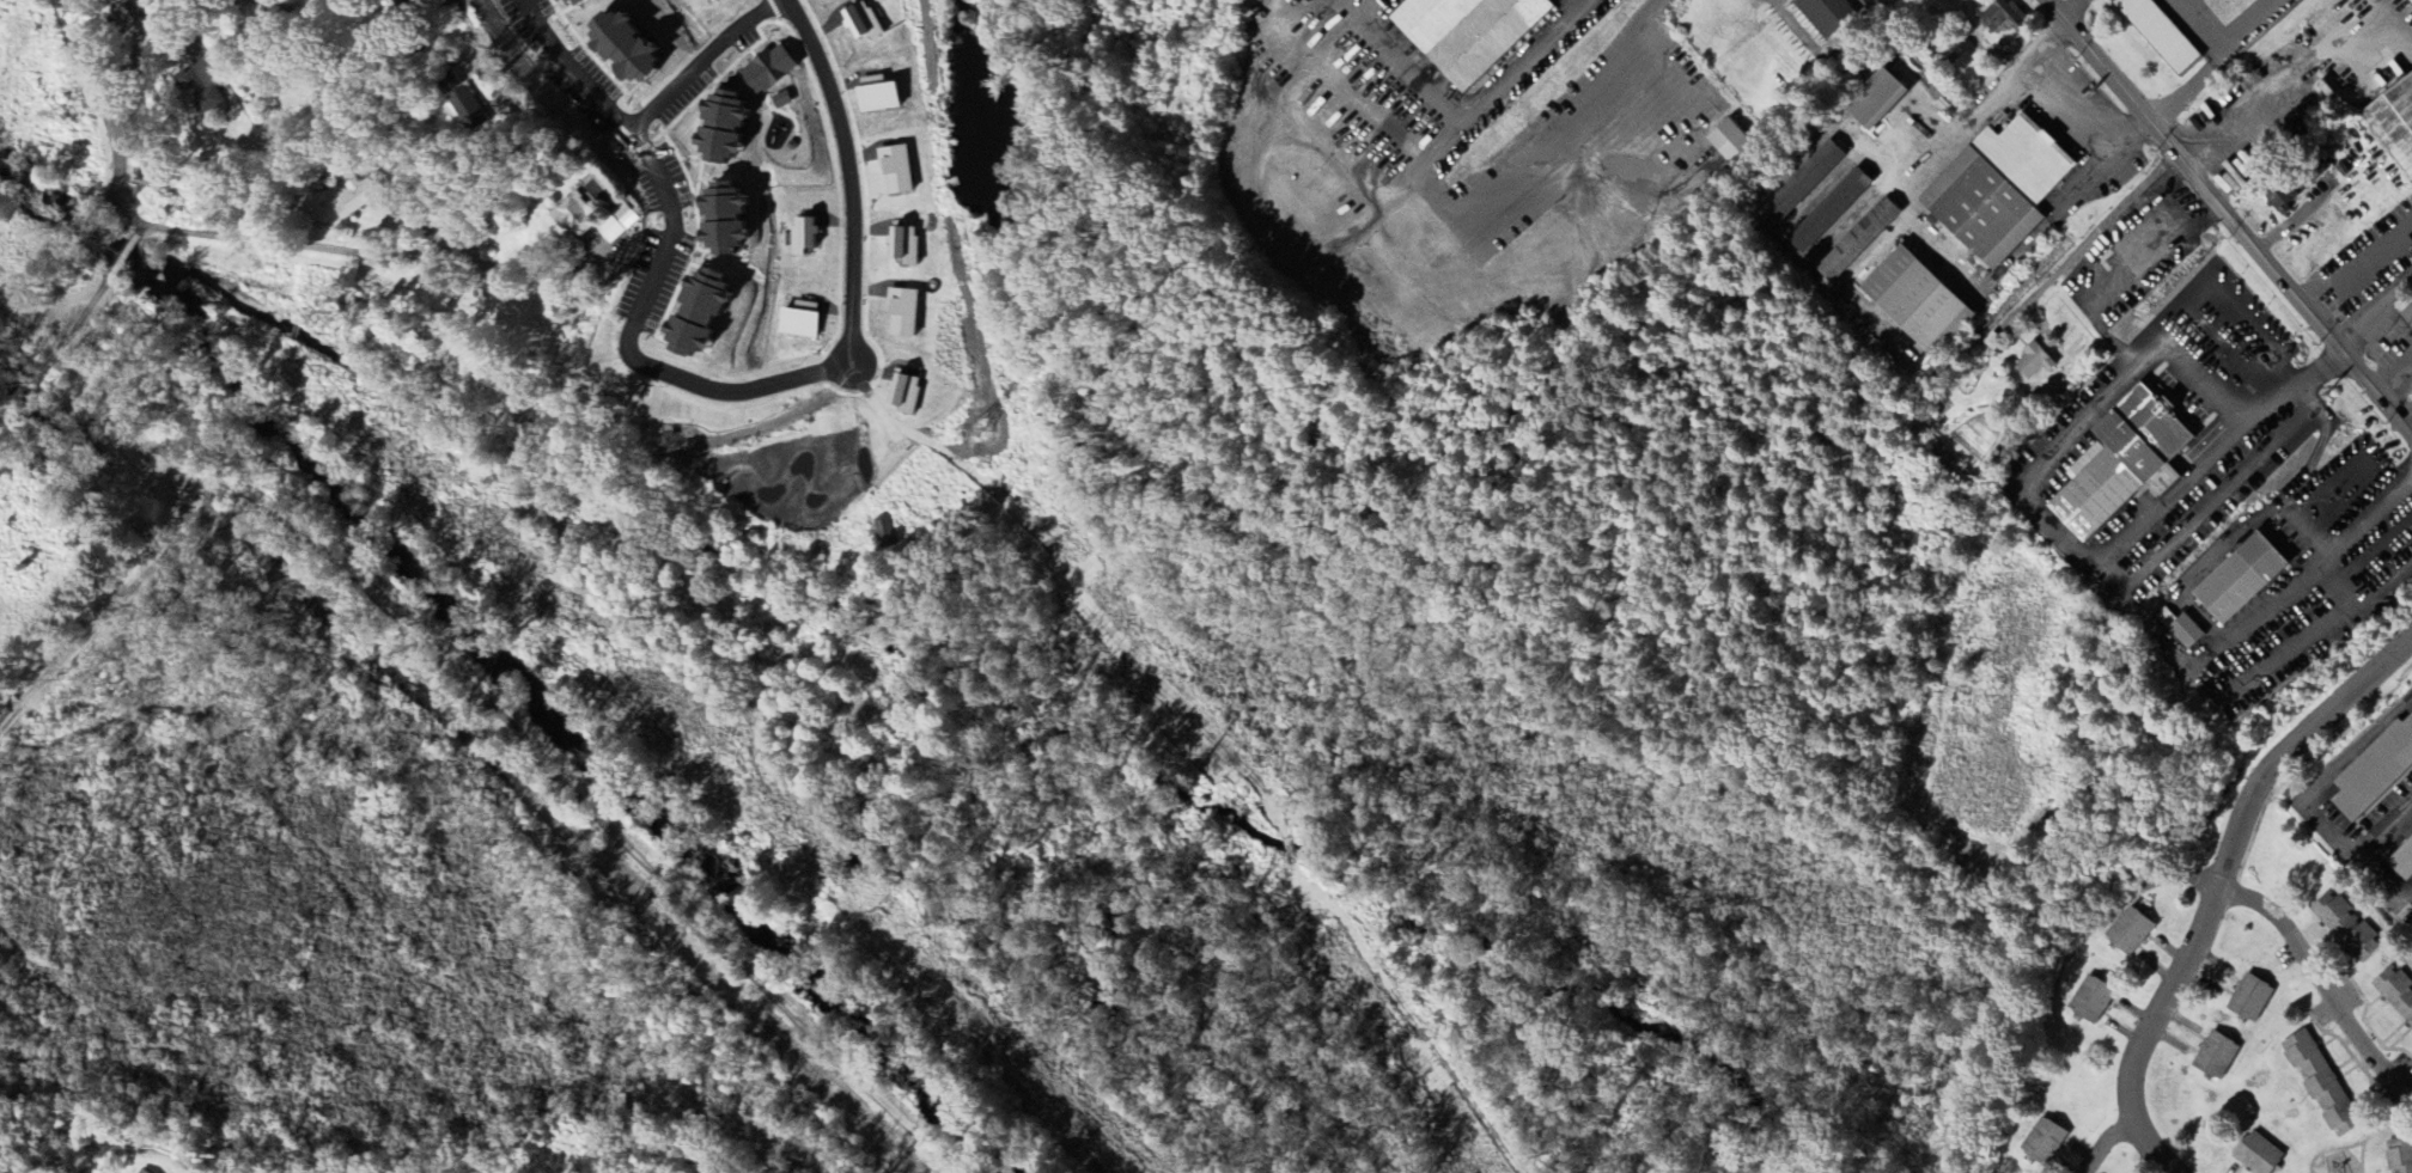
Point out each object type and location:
building: (552, 1)
building: (707, 1)
building: (395, 2)
building: (568, 2)
building: (2408, 2)
road: (2069, 7)
building: (2227, 10)
building: (1823, 14)
building: (2002, 17)
building: (860, 22)
building: (1461, 31)
building: (2158, 35)
building: (614, 50)
road: (573, 62)
road: (698, 63)
road: (2212, 63)
building: (766, 72)
building: (200, 90)
building: (876, 96)
building: (1872, 102)
road: (141, 108)
building: (462, 110)
power tower: (63, 114)
road: (1464, 117)
building: (2394, 123)
building: (714, 128)
building: (1726, 141)
road: (2224, 161)
building: (895, 171)
road: (853, 182)
building: (1799, 185)
building: (2294, 185)
building: (1996, 191)
building: (349, 203)
building: (1827, 213)
building: (569, 215)
building: (621, 218)
building: (715, 219)
road: (2230, 219)
road: (141, 230)
road: (2278, 231)
building: (800, 237)
road: (236, 239)
building: (1856, 242)
building: (902, 246)
road: (1935, 249)
road: (122, 258)
building: (1913, 303)
road: (65, 308)
road: (2244, 310)
building: (690, 314)
building: (901, 314)
road: (2377, 314)
building: (2406, 317)
road: (5, 318)
building: (797, 320)
road: (636, 344)
building: (2032, 362)
road: (2393, 380)
park: (99, 390)
building: (902, 395)
road: (2406, 422)
building: (2120, 465)
road: (213, 484)
road: (193, 488)
road: (177, 501)
road: (189, 507)
road: (2307, 507)
road: (175, 518)
road: (214, 527)
road: (2053, 529)
power tower: (488, 537)
building: (882, 538)
road: (337, 562)
building: (2239, 580)
building: (2185, 633)
road: (203, 714)
building: (2374, 770)
road: (2308, 798)
road: (616, 837)
park: (446, 842)
building: (2401, 861)
road: (2218, 887)
power tower: (875, 917)
building: (2340, 925)
building: (2128, 931)
road: (2320, 980)
building: (2394, 994)
building: (2248, 1000)
building: (2090, 1001)
building: (2213, 1057)
building: (2317, 1082)
building: (2042, 1142)
road: (2105, 1144)
building: (2255, 1154)
building: (2399, 1155)
building: (145, 1172)

